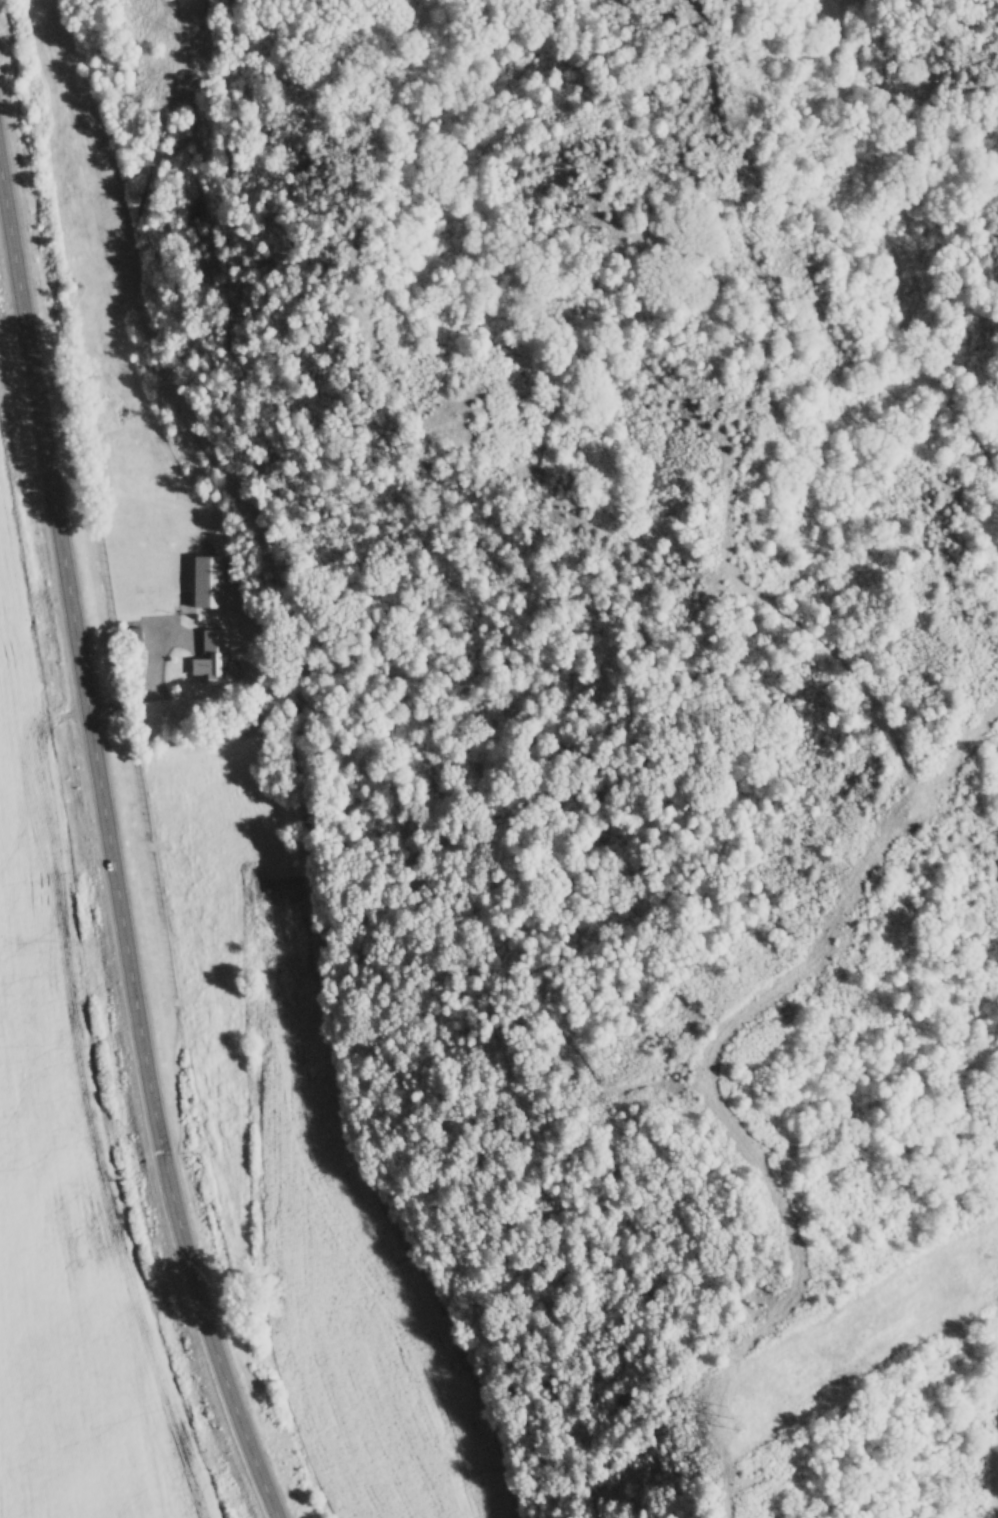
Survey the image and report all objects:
building: (133, 635)
building: (213, 653)
road: (114, 827)
power tower: (730, 1418)

